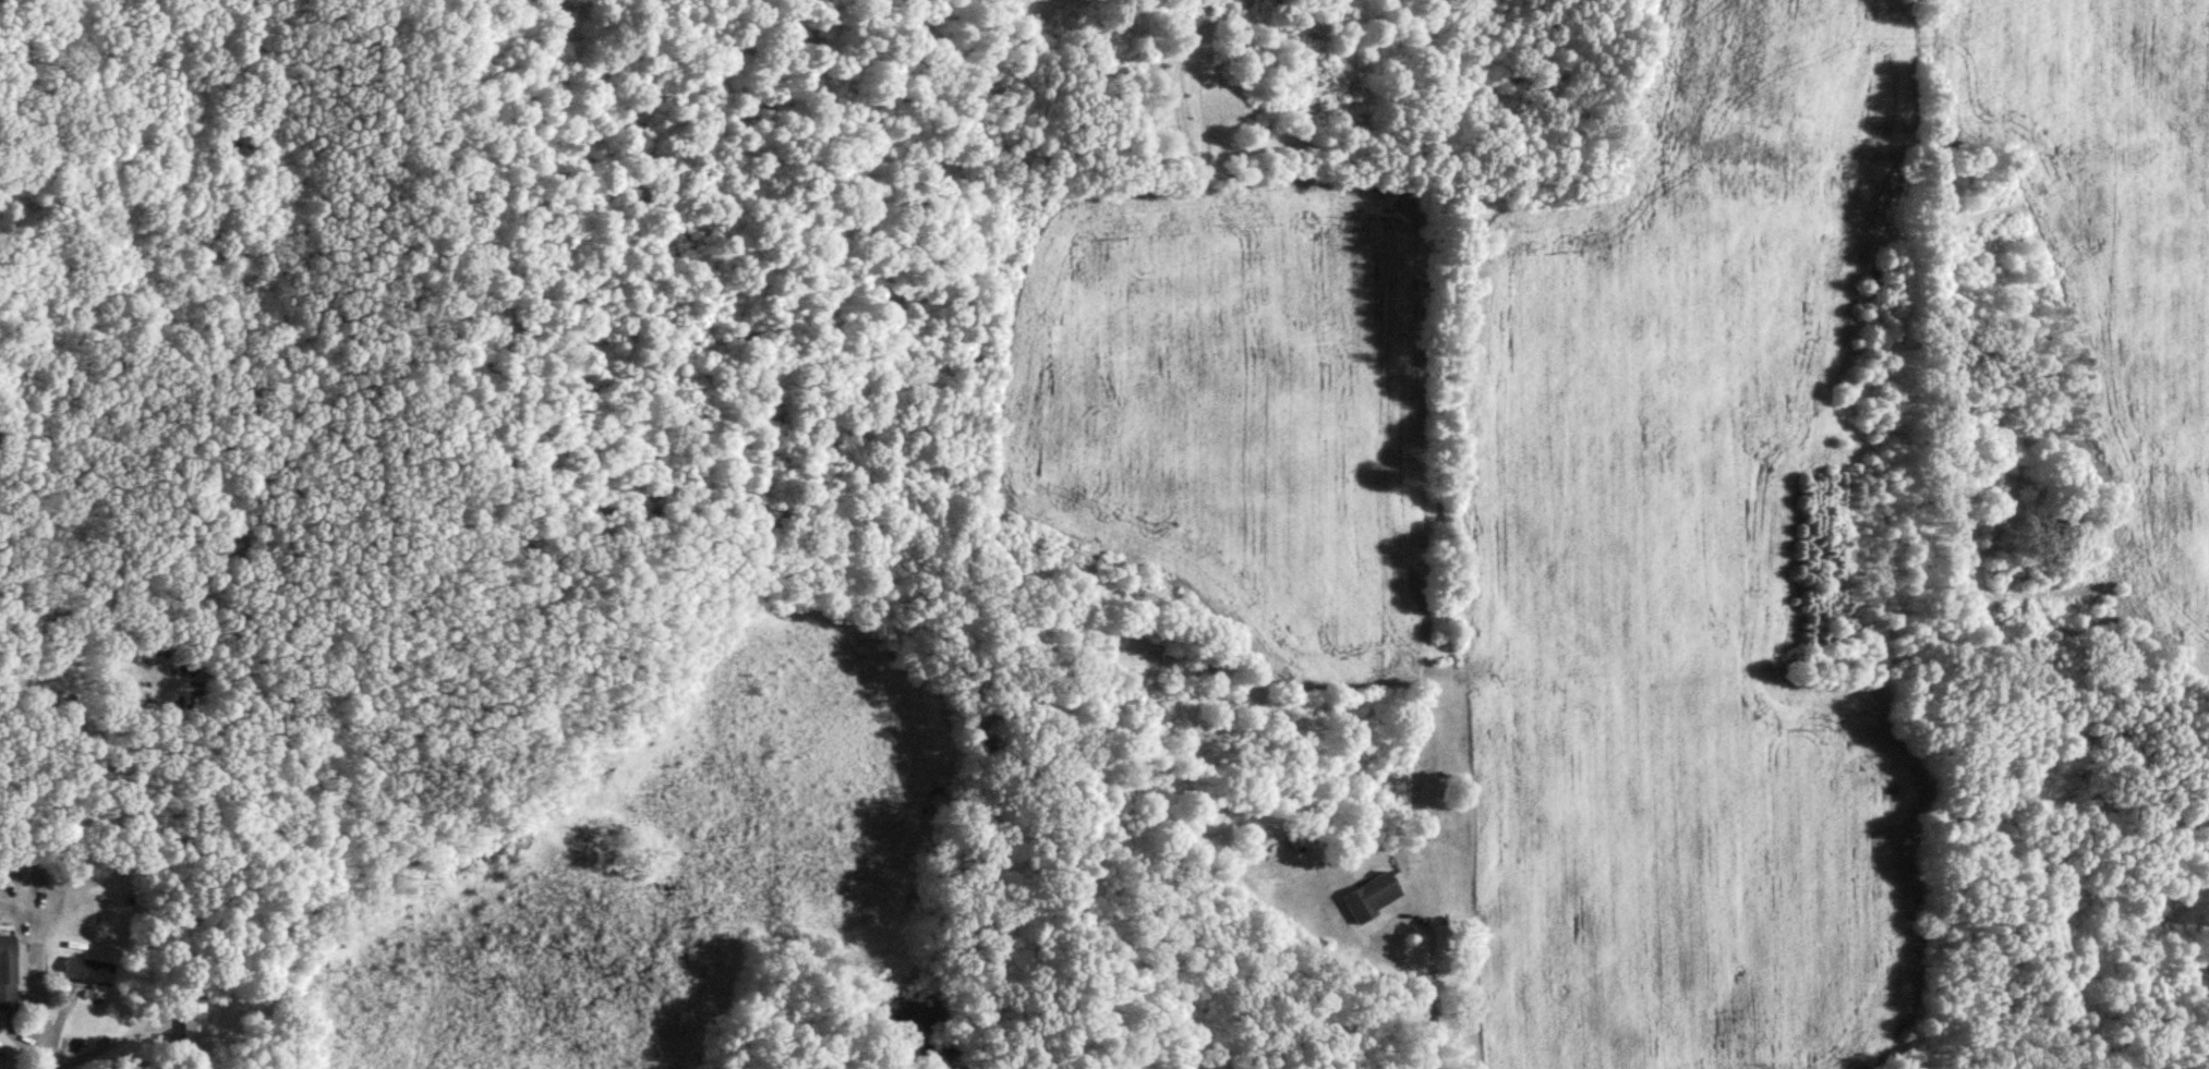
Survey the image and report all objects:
building: (1369, 902)
road: (1401, 918)
building: (87, 976)
road: (33, 1004)
building: (195, 1027)
road: (1433, 1041)

